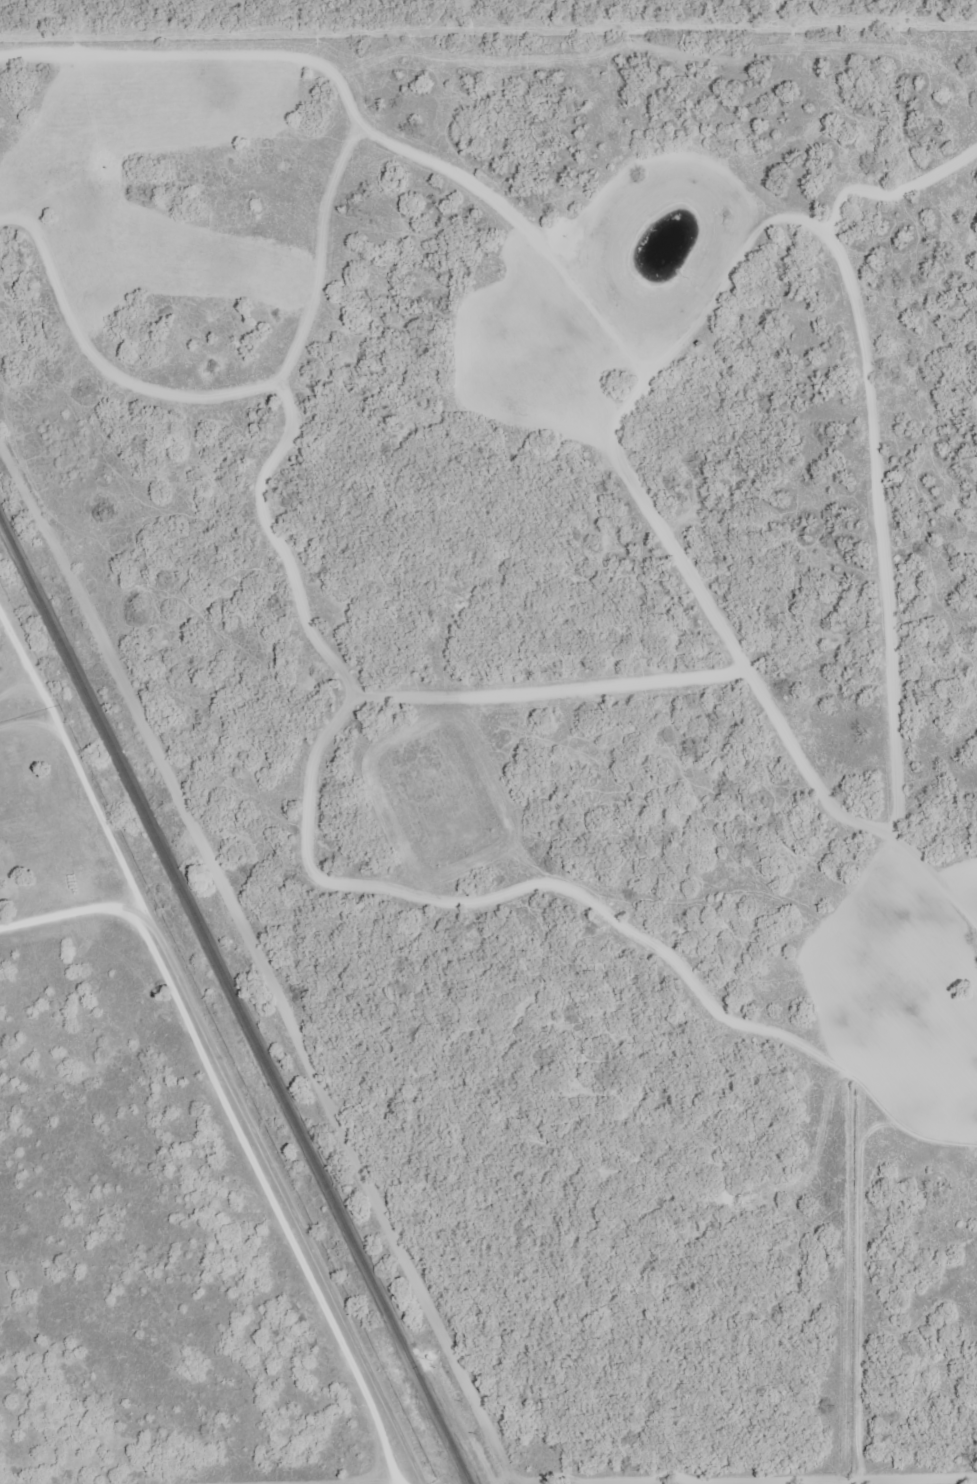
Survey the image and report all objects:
road: (74, 760)
railway: (237, 999)
road: (254, 1130)
road: (84, 1346)

